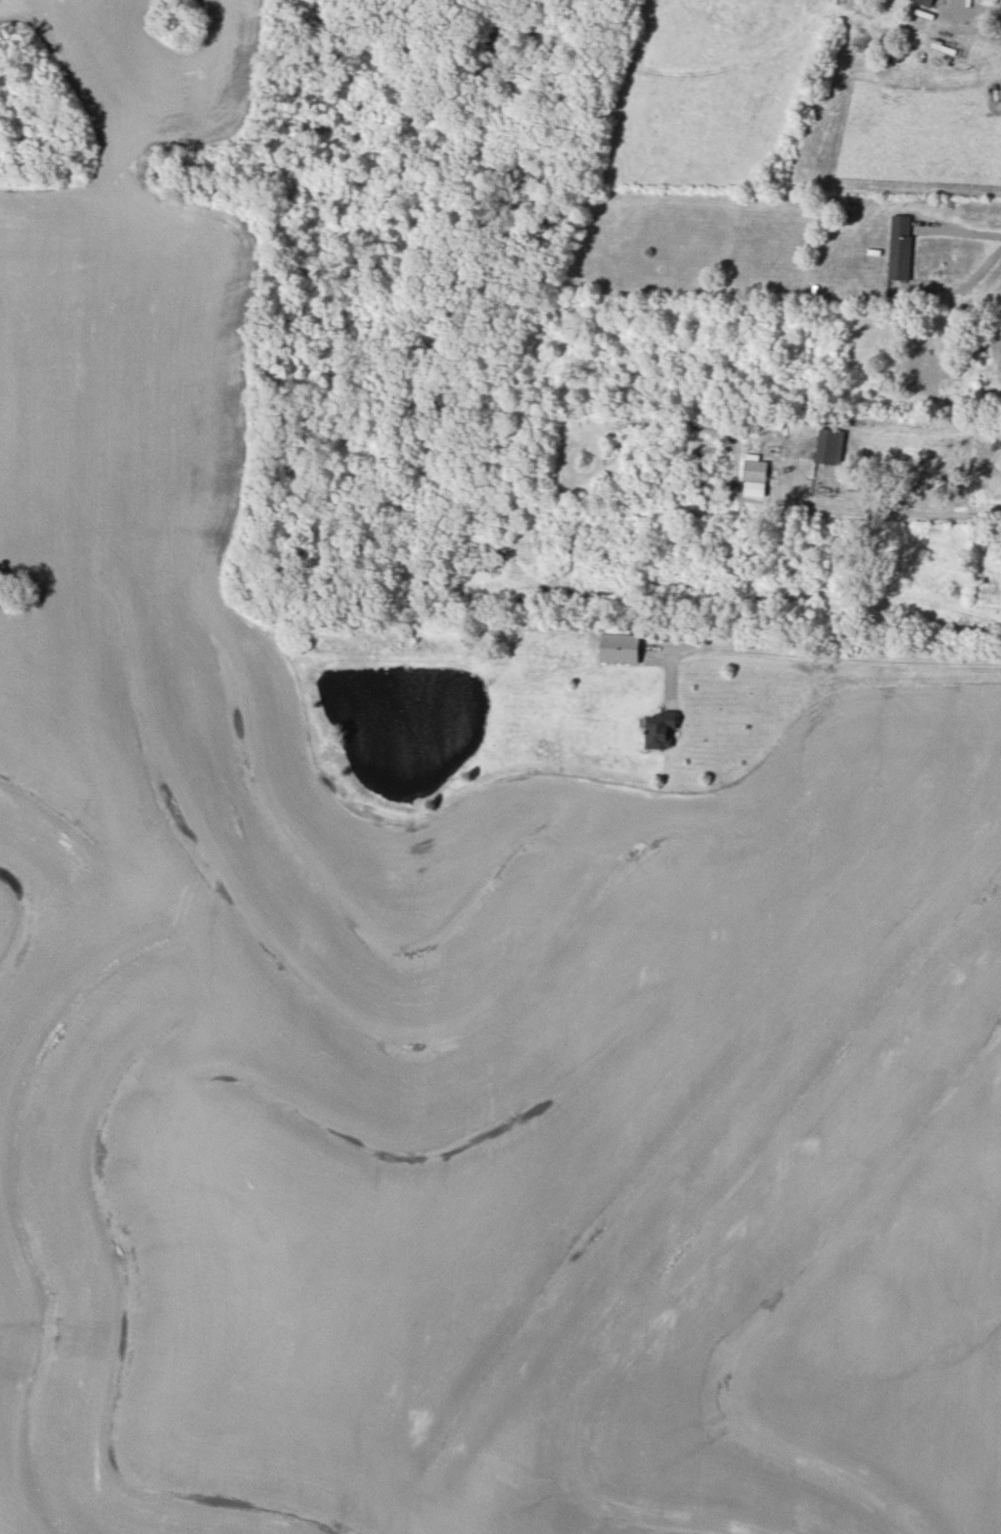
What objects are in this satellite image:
building: (925, 2)
road: (993, 7)
road: (962, 231)
building: (900, 247)
crop: (129, 309)
building: (999, 314)
building: (829, 446)
building: (754, 476)
road: (928, 509)
building: (619, 648)
road: (828, 654)
building: (660, 729)
crop: (488, 1118)

